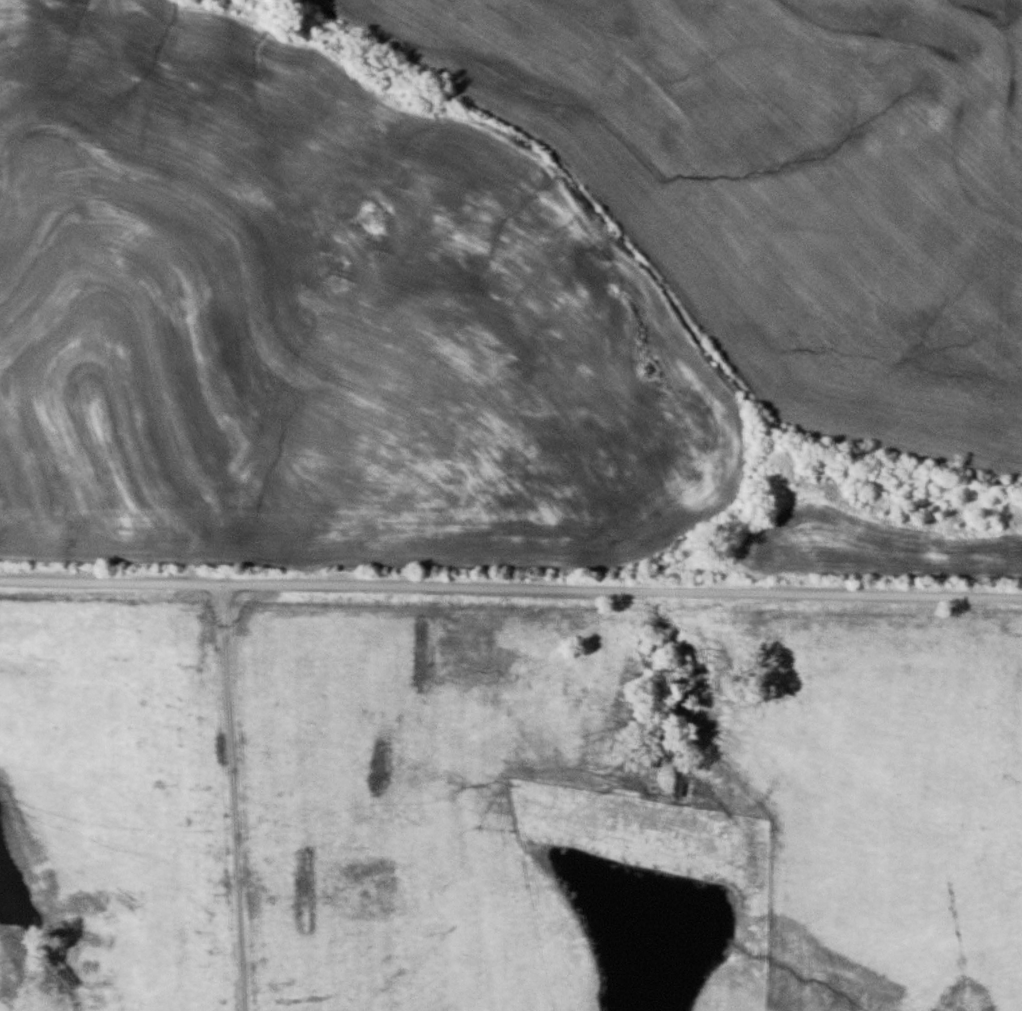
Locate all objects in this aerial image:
road: (511, 602)

